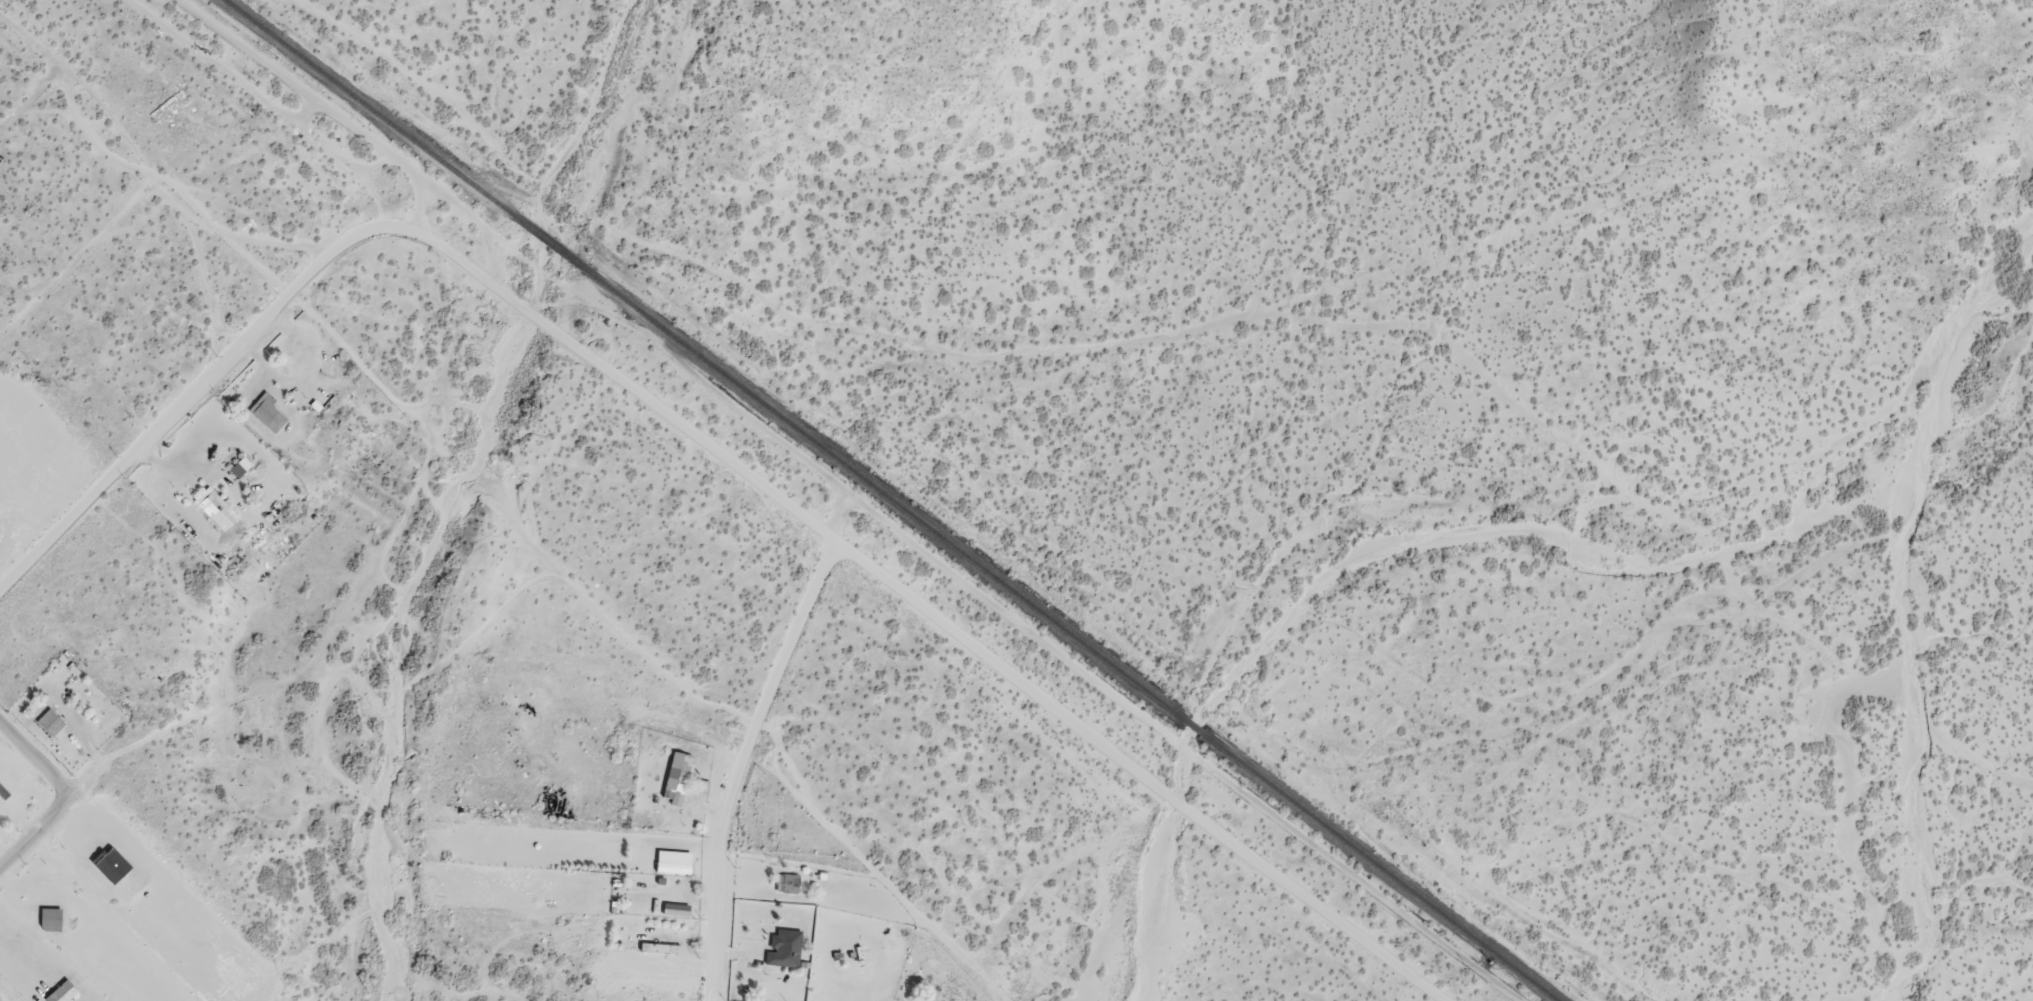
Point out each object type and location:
road: (30, 95)
railway: (364, 108)
railway: (548, 246)
road: (186, 406)
building: (270, 407)
building: (243, 459)
building: (216, 496)
railway: (737, 500)
road: (903, 611)
railway: (1073, 637)
building: (52, 717)
road: (732, 768)
building: (678, 775)
road: (69, 797)
building: (672, 866)
building: (788, 879)
building: (51, 919)
building: (784, 945)
building: (63, 989)

